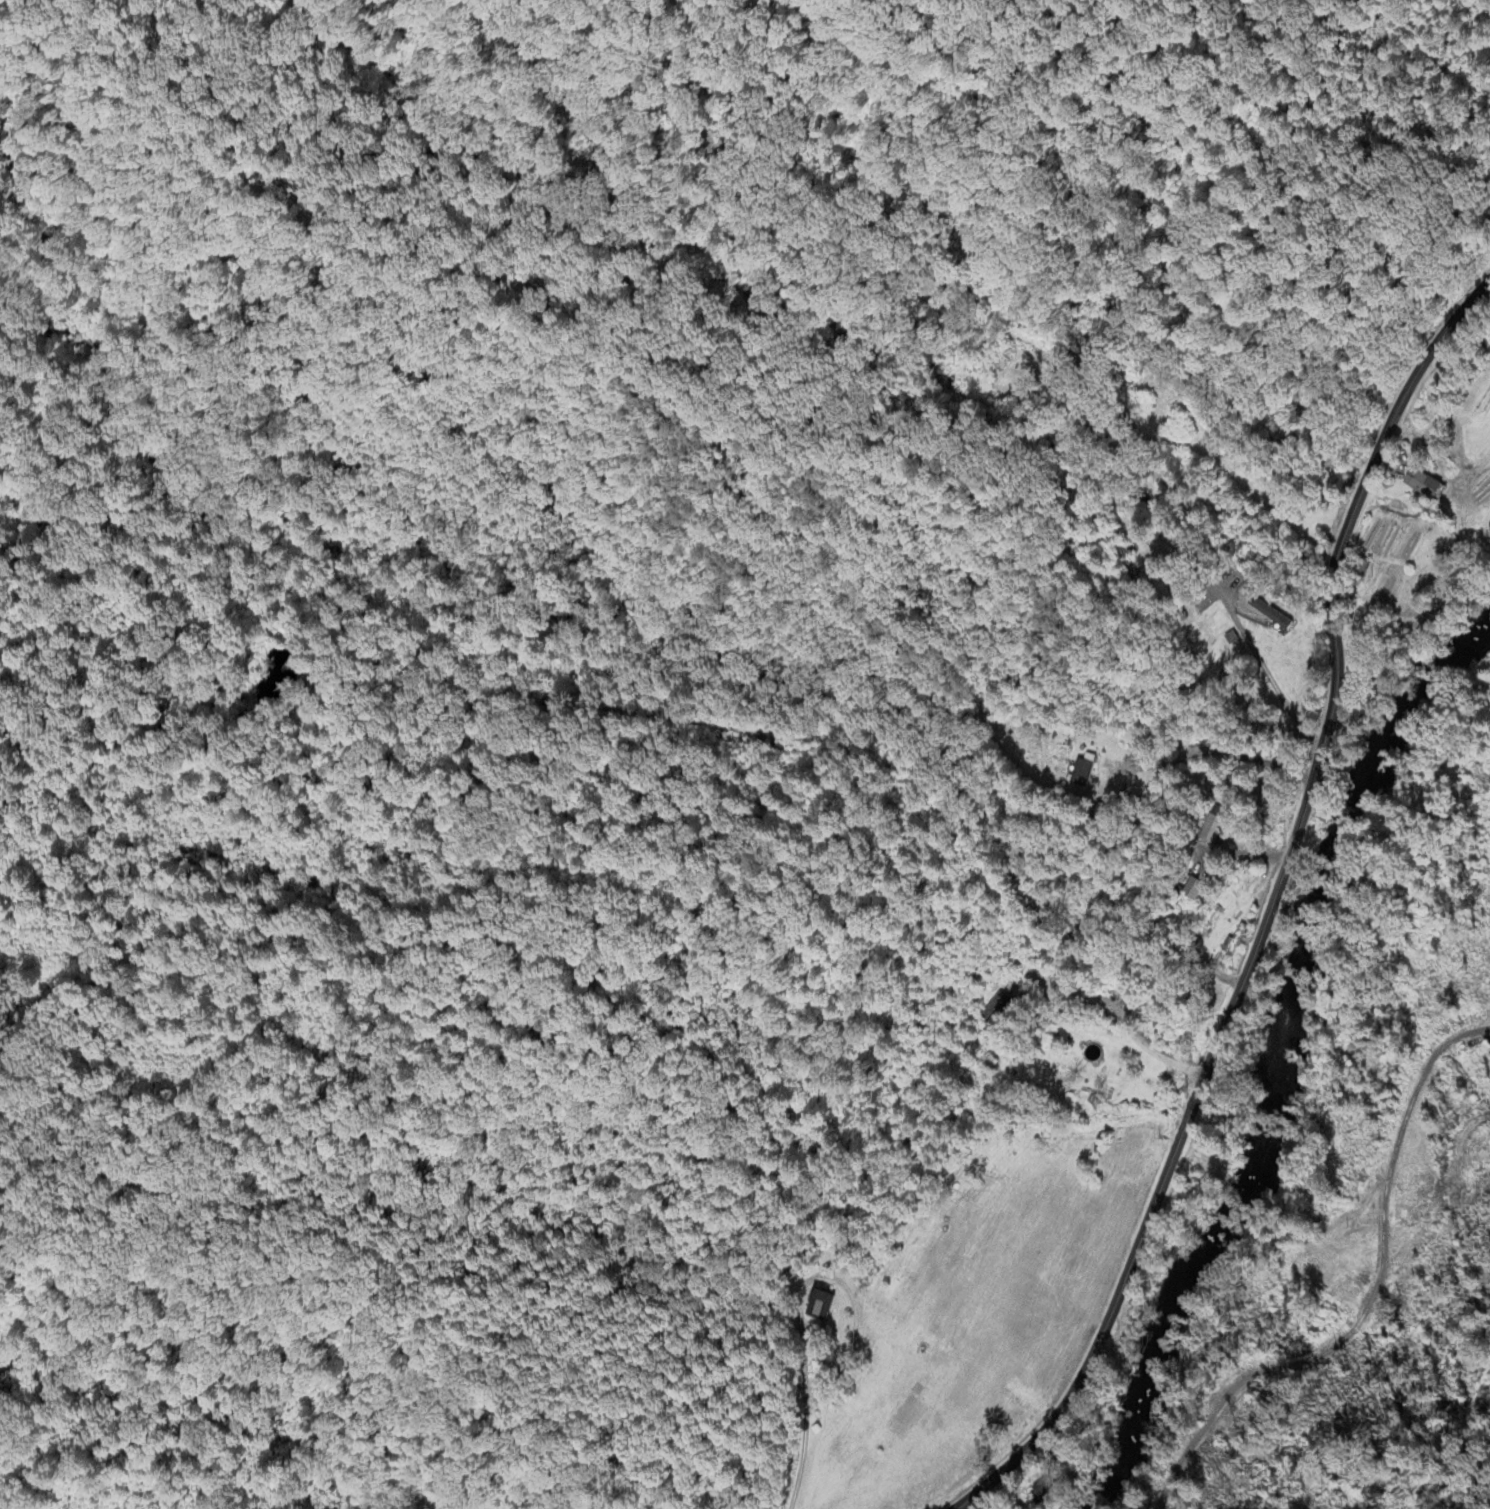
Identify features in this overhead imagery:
road: (1217, 452)
road: (1153, 473)
building: (1420, 485)
road: (1219, 595)
building: (1268, 614)
building: (1080, 774)
building: (1211, 830)
building: (1193, 890)
road: (1268, 911)
building: (997, 1001)
road: (1120, 1022)
river: (1264, 1045)
road: (830, 1278)
road: (285, 1295)
road: (1375, 1300)
building: (819, 1305)
road: (348, 1451)
road: (798, 1459)

